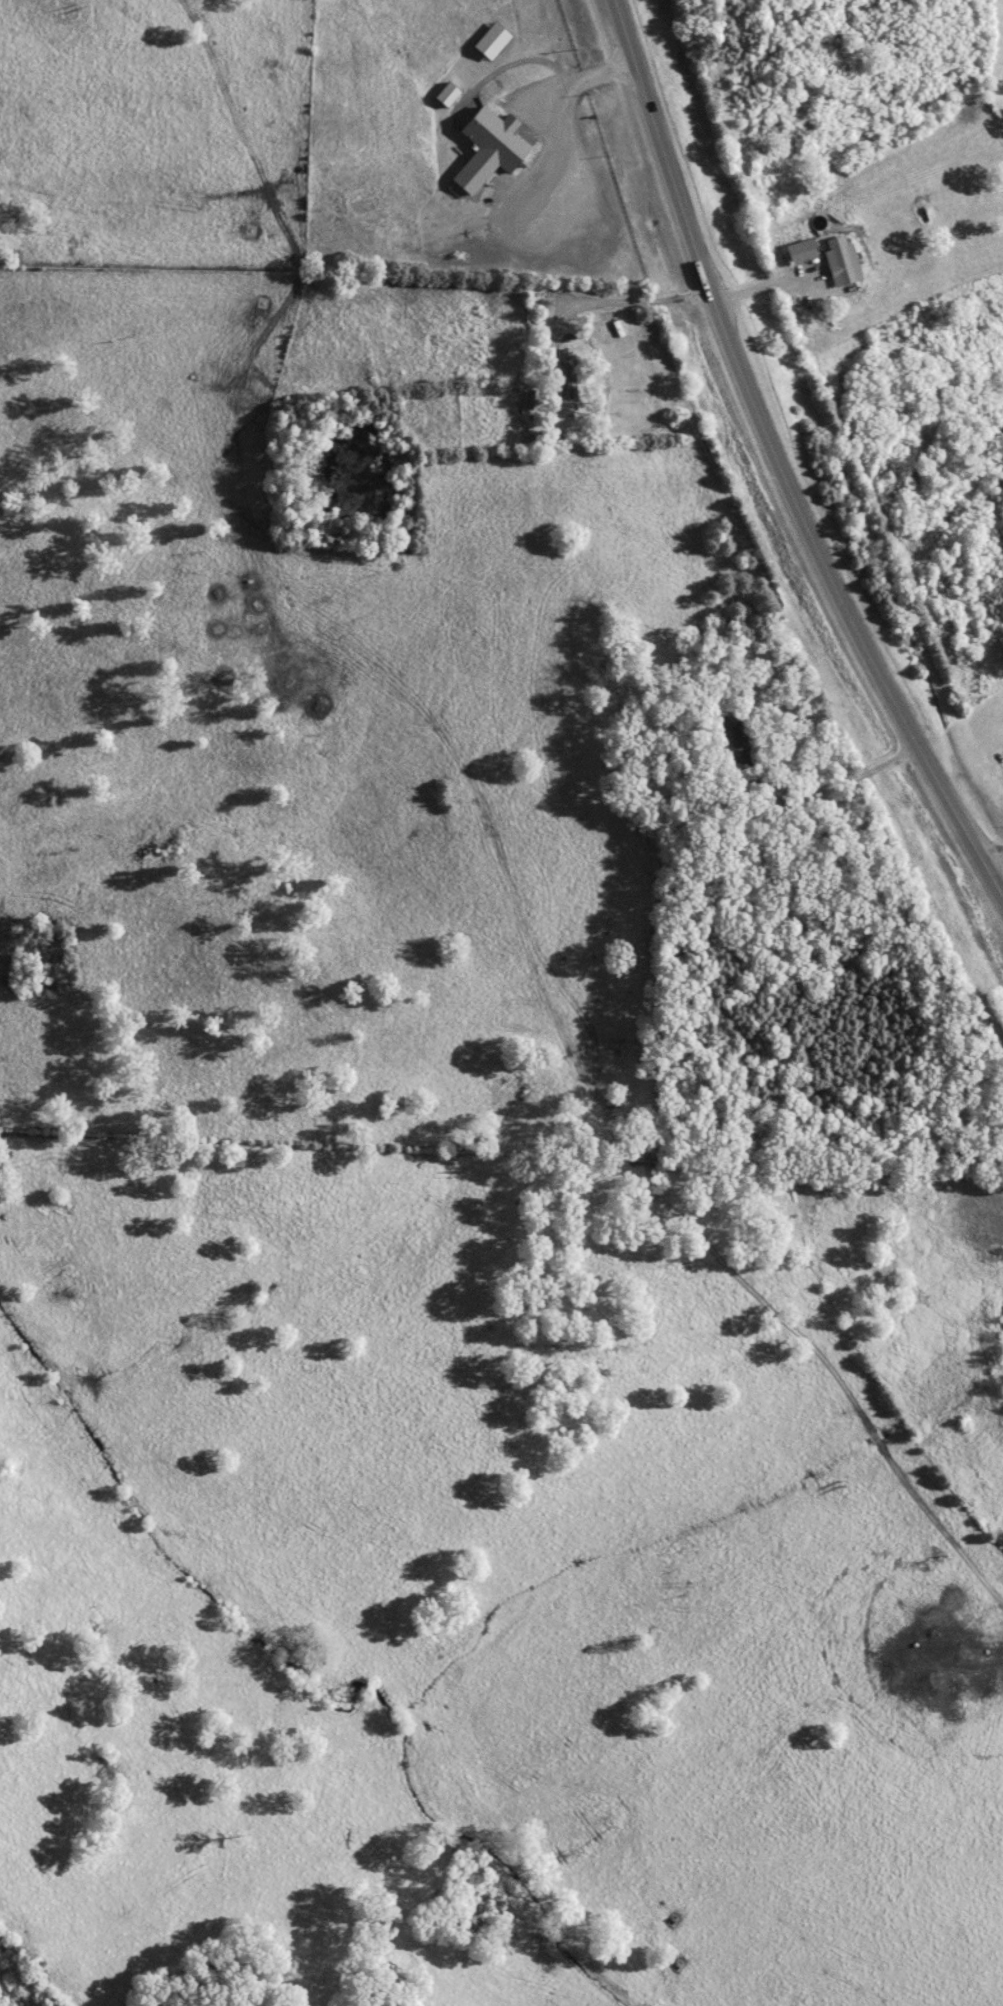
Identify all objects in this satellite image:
building: (488, 43)
road: (574, 79)
building: (443, 96)
building: (485, 150)
building: (838, 267)
road: (621, 302)
building: (565, 377)
road: (785, 456)
building: (730, 744)
road: (835, 782)
road: (994, 849)
road: (233, 1823)

